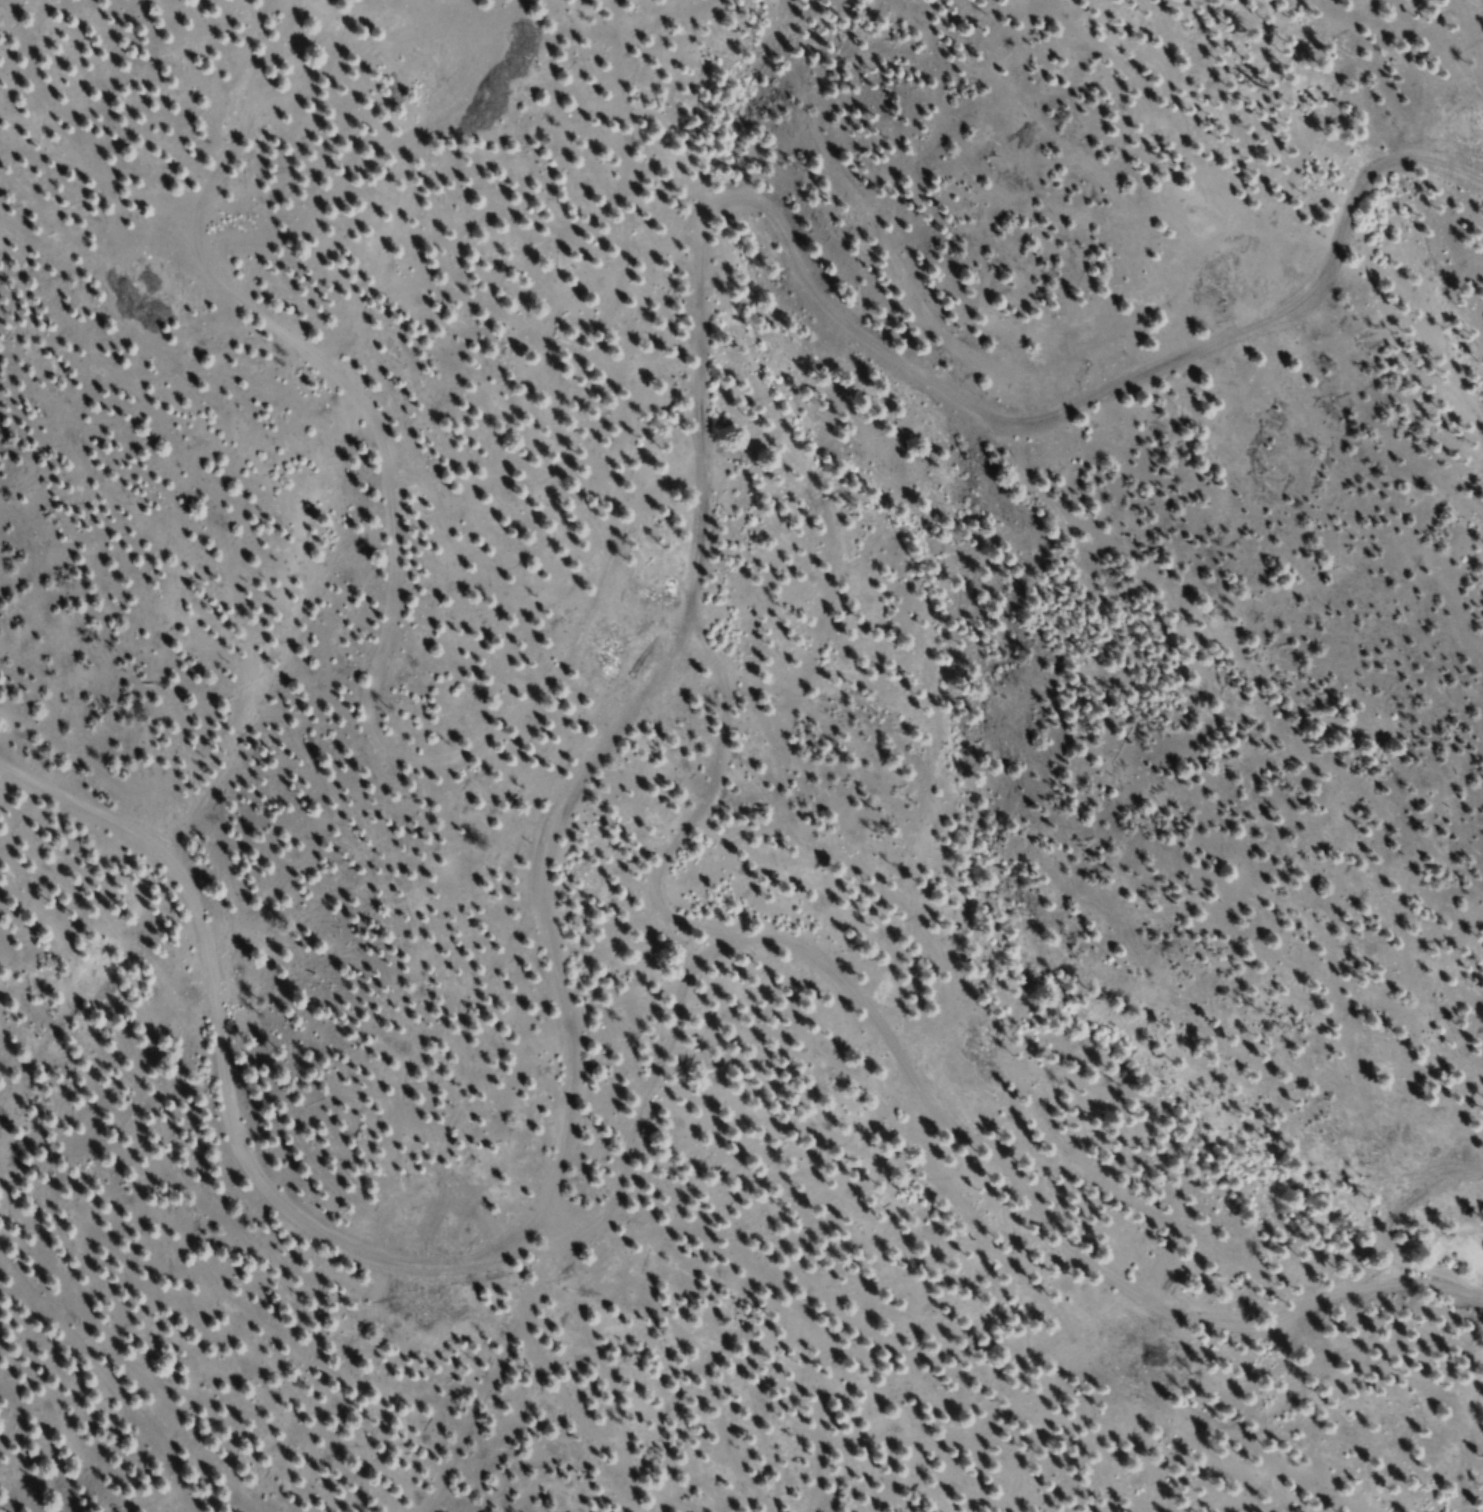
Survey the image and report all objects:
road: (717, 657)

